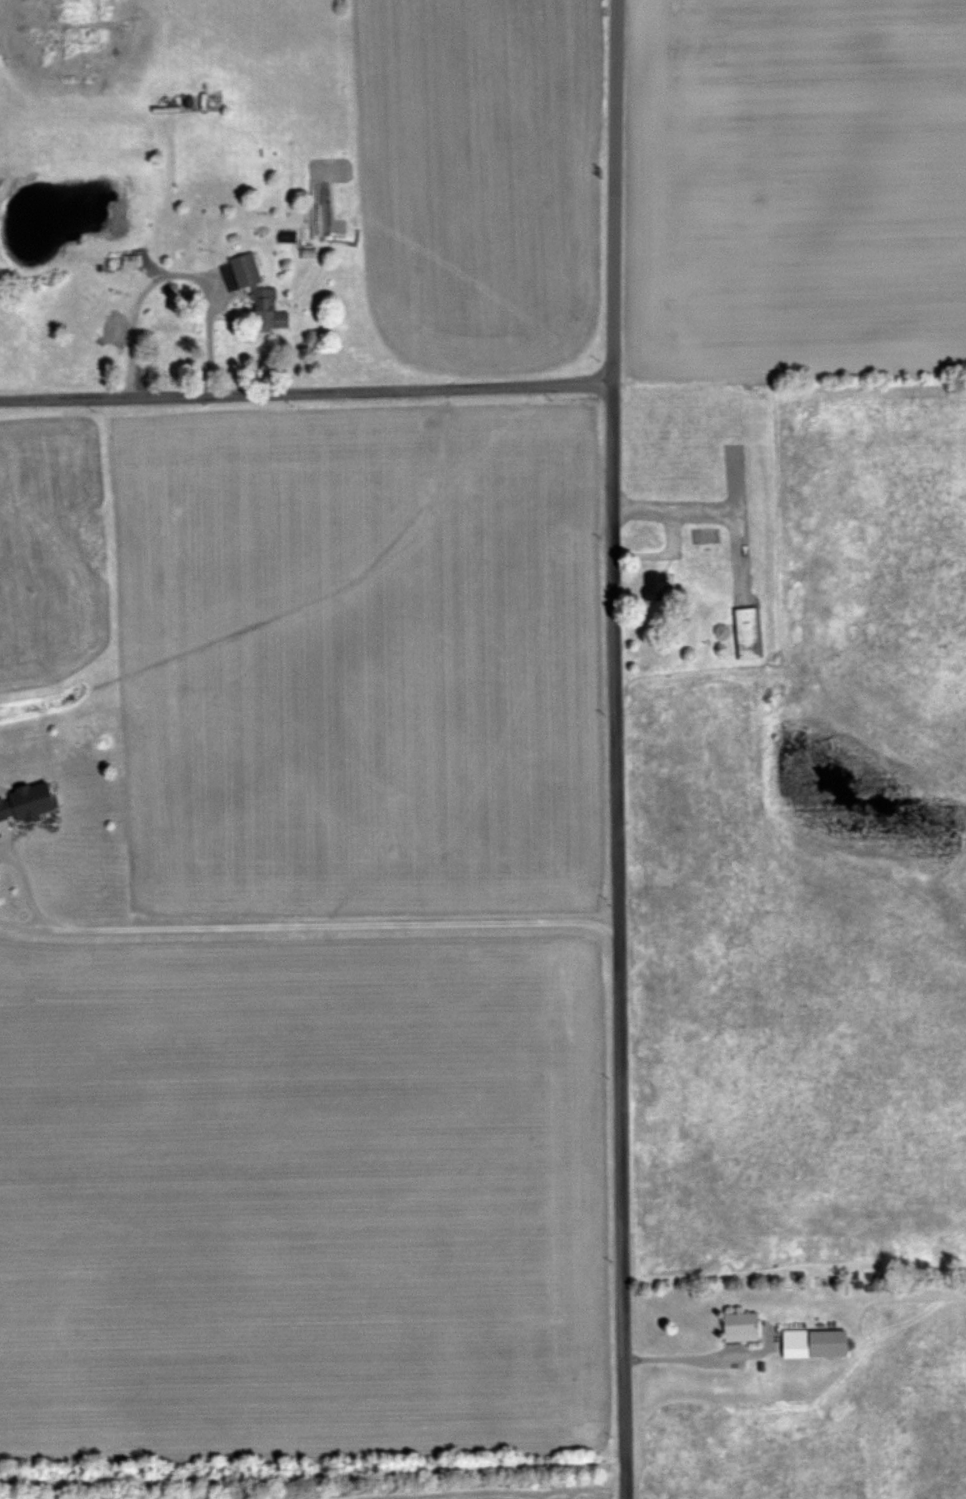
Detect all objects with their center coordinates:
road: (611, 194)
road: (174, 276)
building: (260, 295)
road: (304, 396)
road: (648, 517)
building: (657, 587)
building: (748, 632)
building: (28, 801)
road: (10, 908)
road: (314, 925)
road: (615, 943)
building: (743, 1325)
building: (816, 1342)
road: (704, 1357)
road: (312, 1476)
road: (55, 1490)

